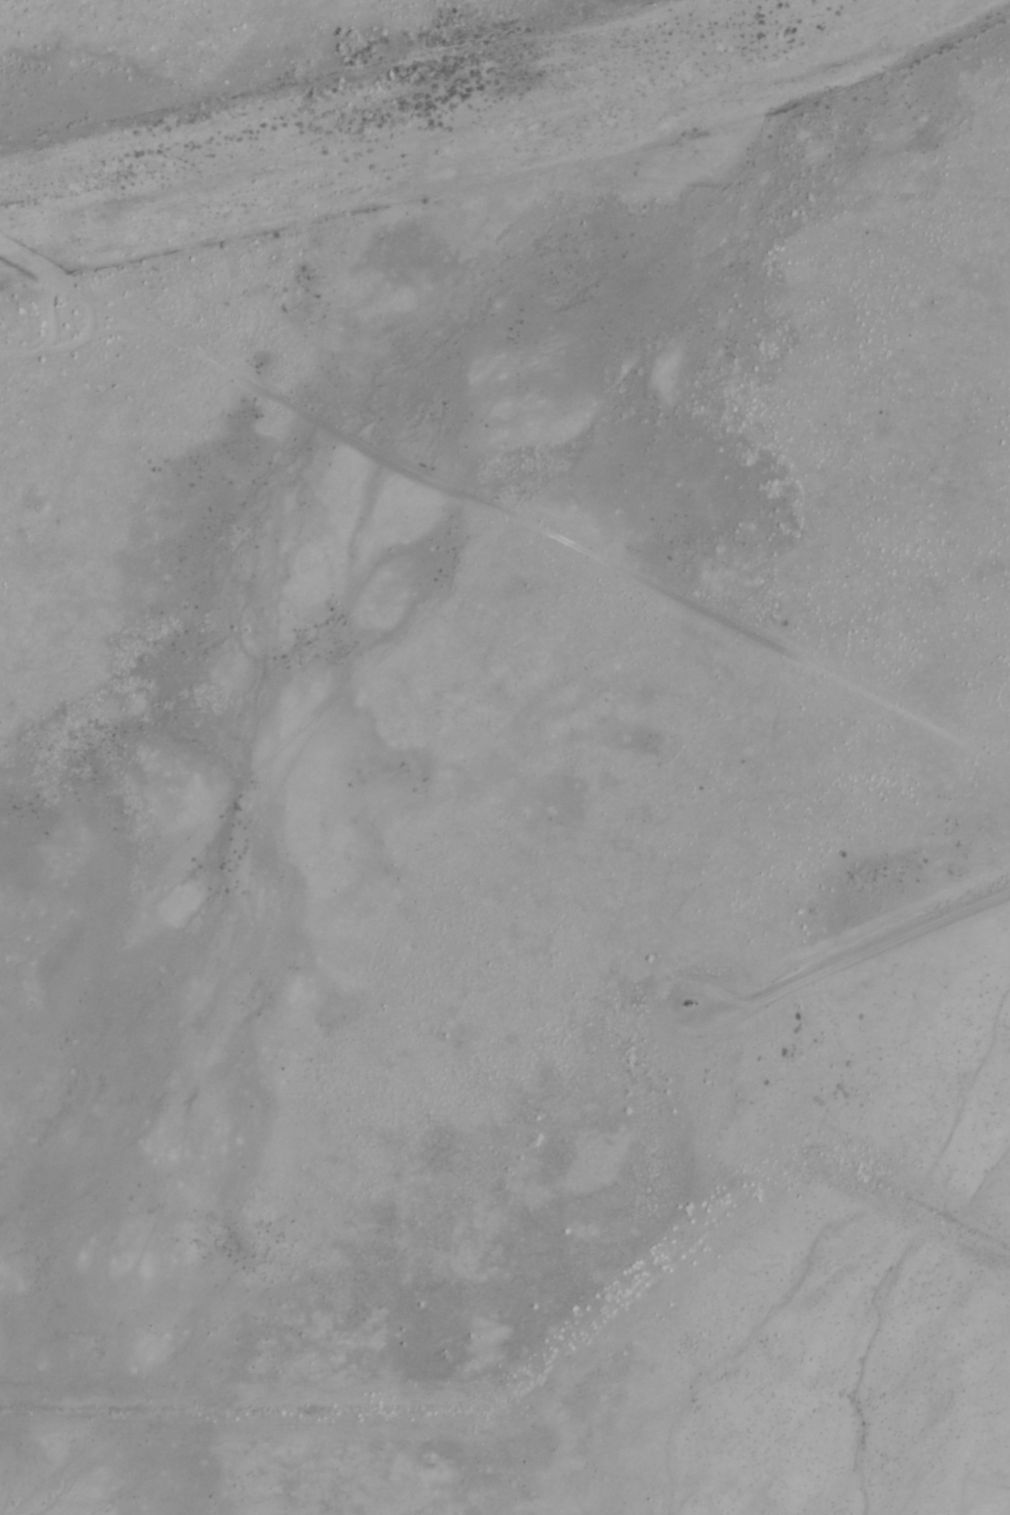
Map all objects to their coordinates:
road: (93, 314)
road: (73, 340)
road: (502, 507)
road: (855, 949)

